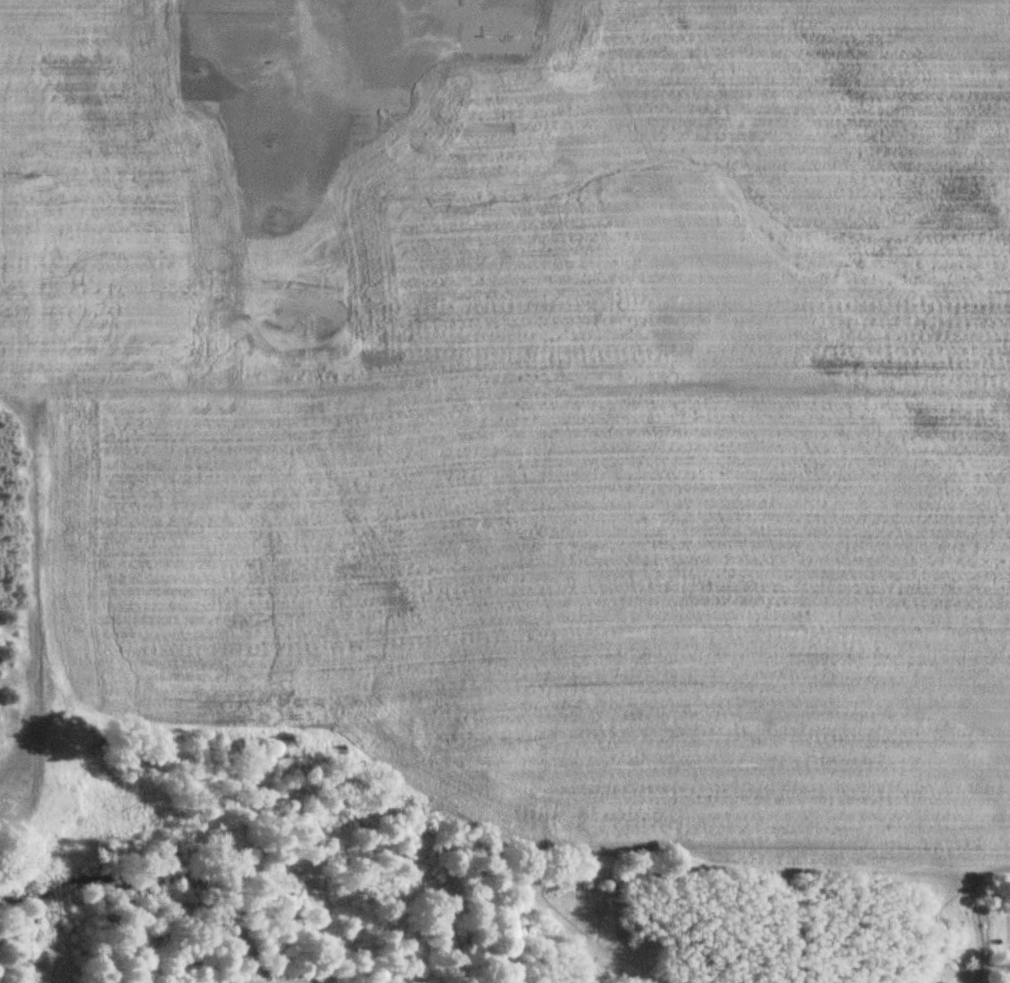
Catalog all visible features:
road: (505, 388)
road: (35, 567)
building: (6, 799)

